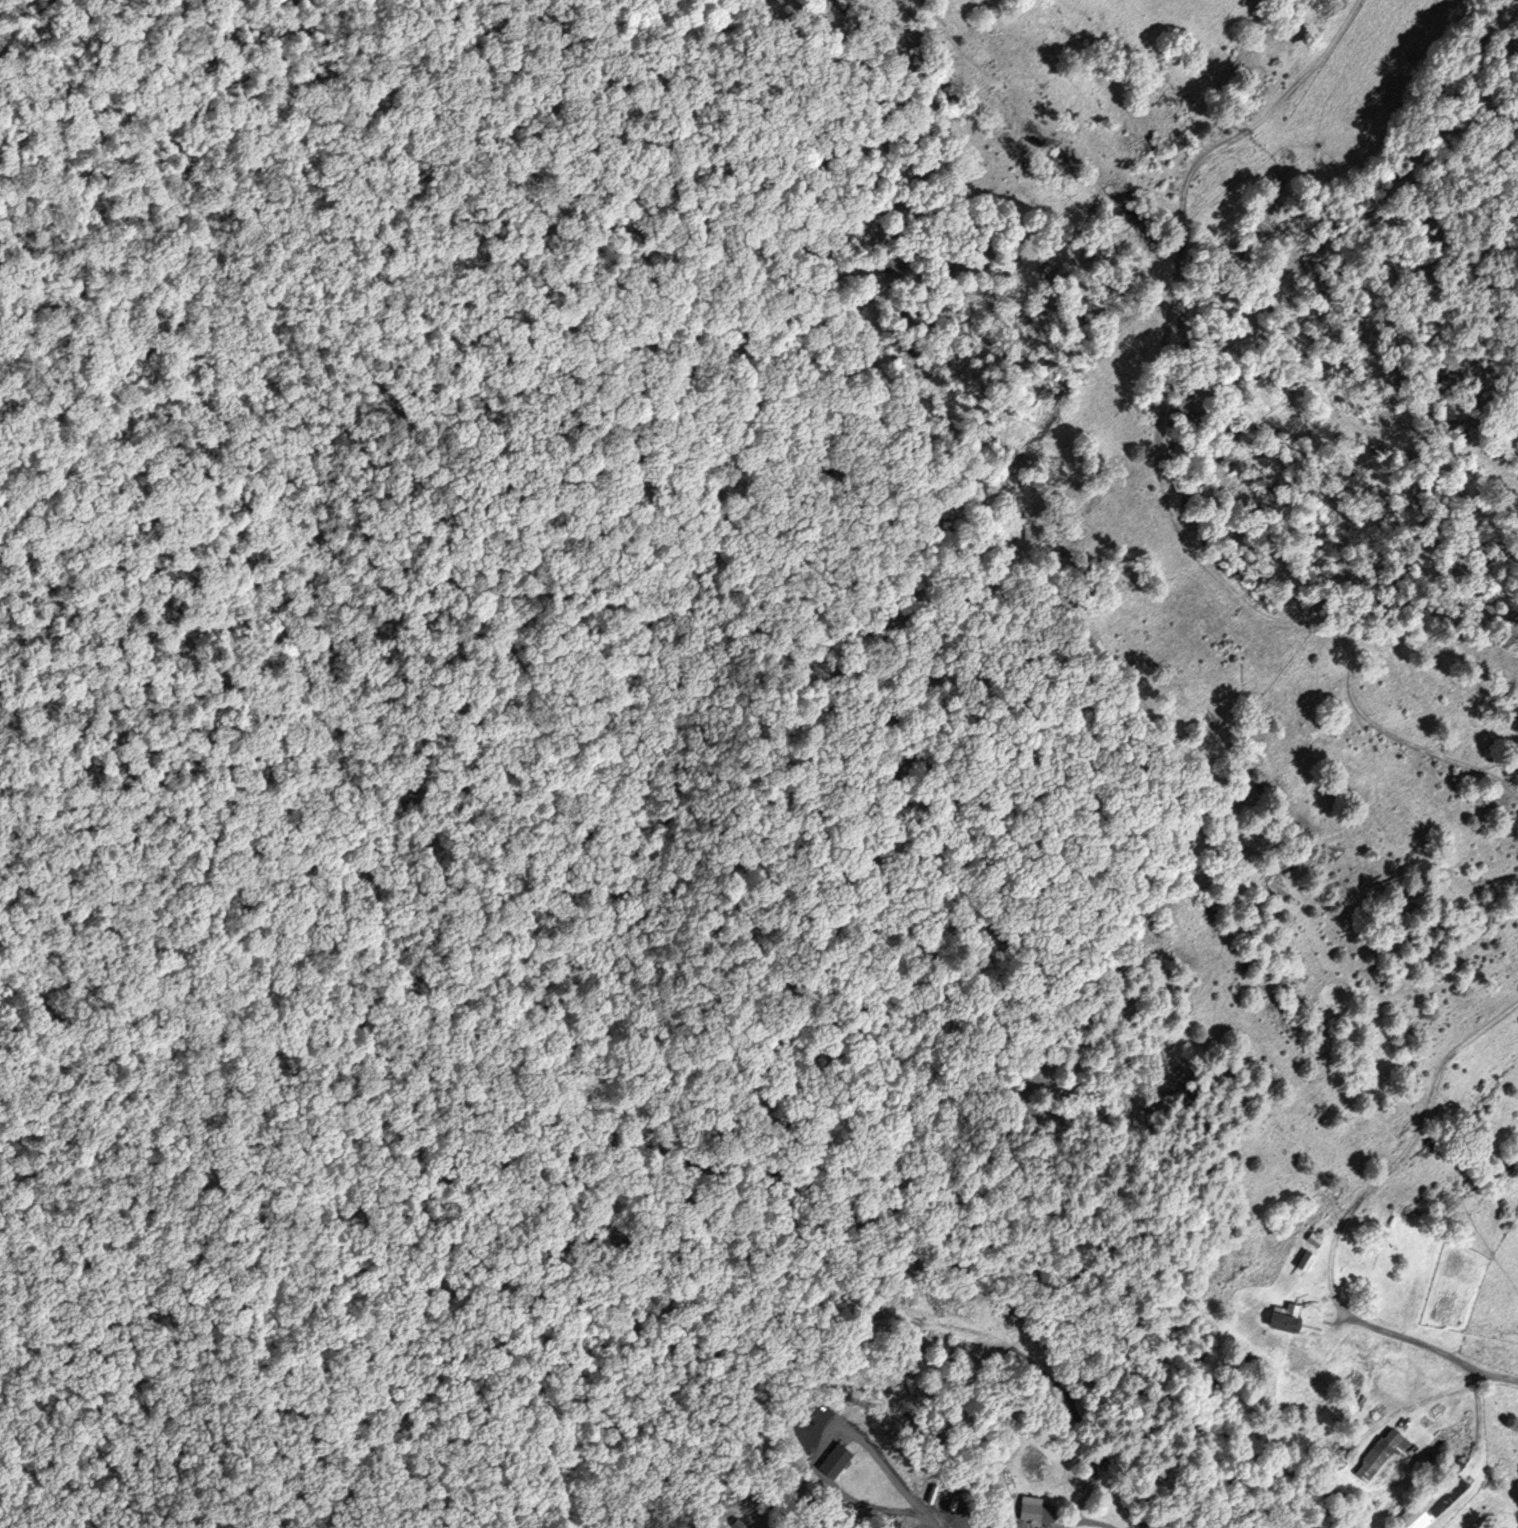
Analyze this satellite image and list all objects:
building: (1331, 5)
road: (1158, 460)
road: (1404, 1151)
building: (1503, 1168)
building: (1320, 1241)
building: (1310, 1260)
building: (1289, 1318)
road: (1429, 1350)
building: (1387, 1453)
building: (1432, 1504)
building: (1033, 1509)
road: (1089, 1522)

